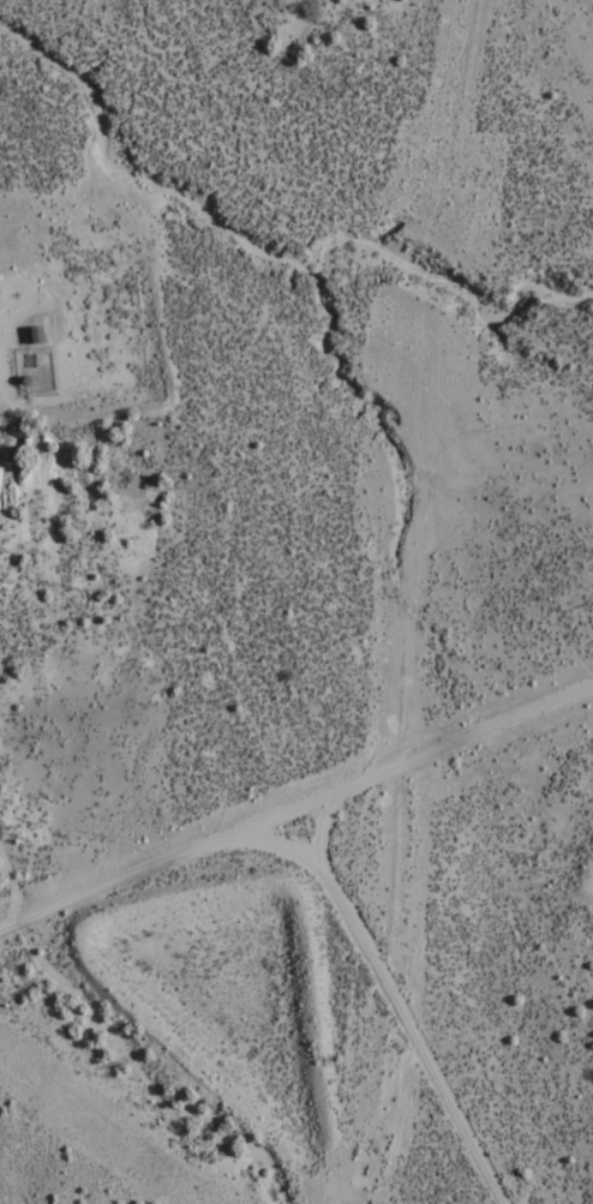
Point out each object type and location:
building: (36, 335)
road: (423, 769)
road: (293, 906)

